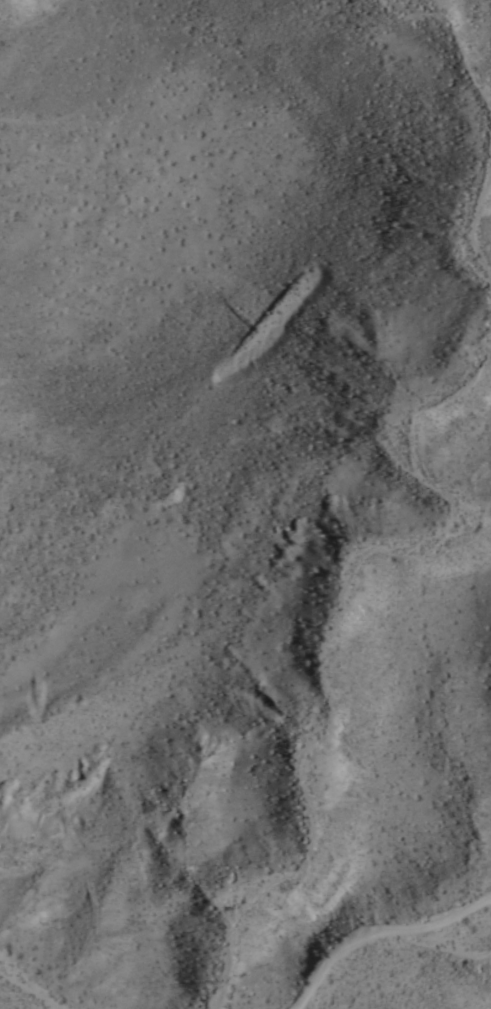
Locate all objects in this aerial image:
road: (105, 99)
road: (376, 926)

